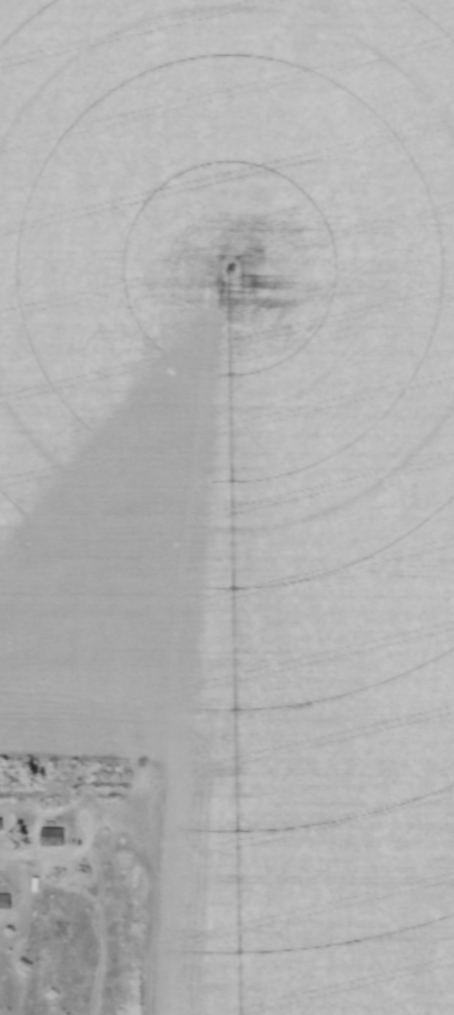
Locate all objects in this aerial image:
crop: (241, 473)
building: (52, 834)
building: (5, 901)
road: (21, 950)

